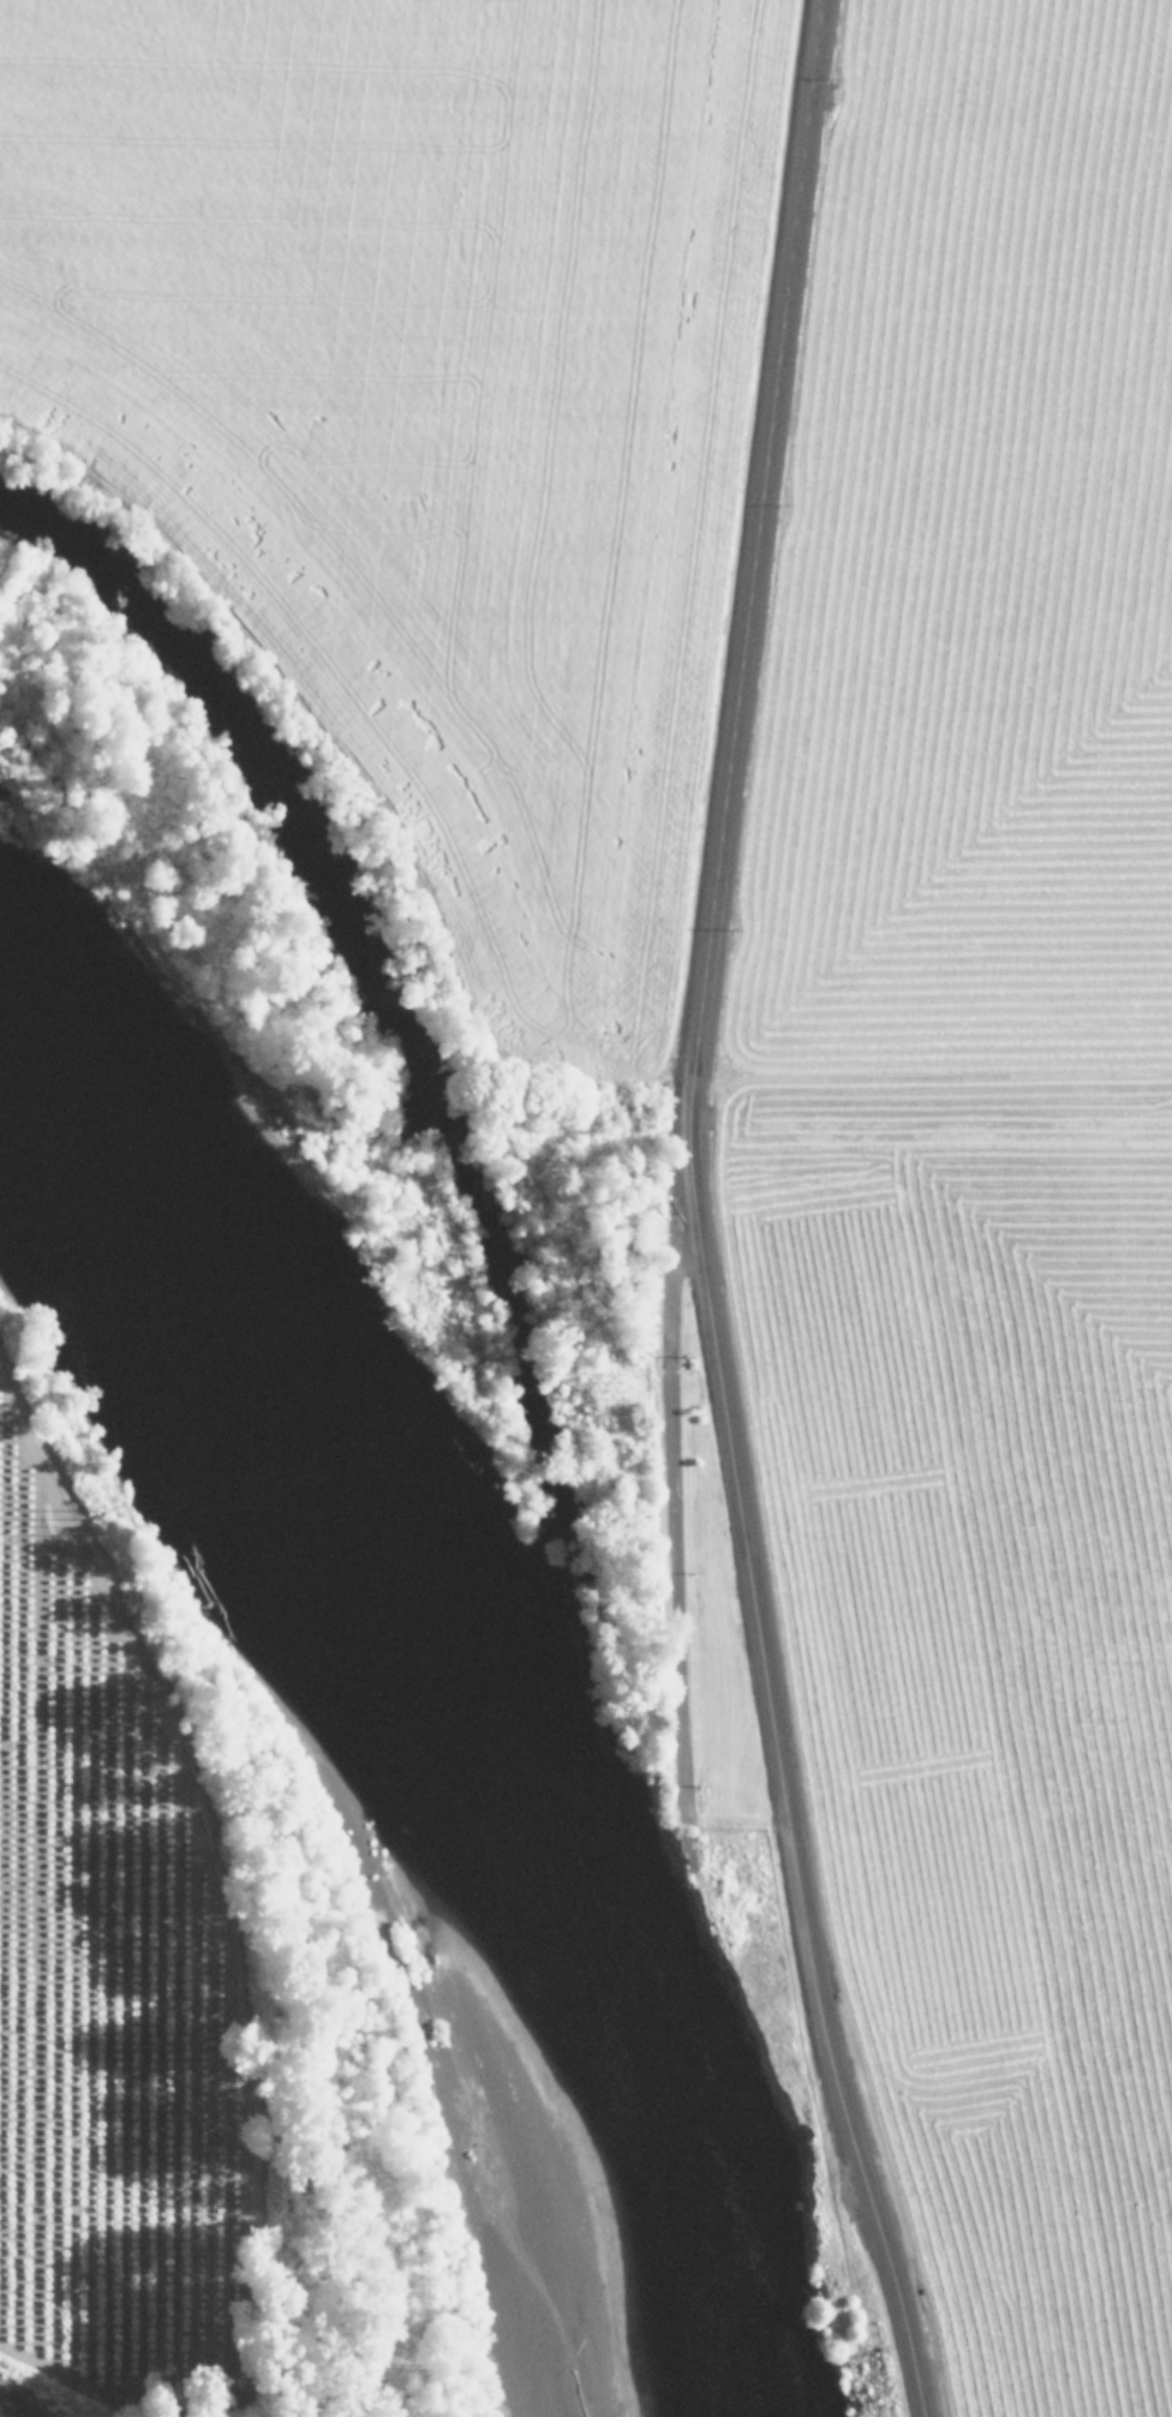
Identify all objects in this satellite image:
crop: (763, 877)
road: (689, 1208)
river: (456, 1670)
crop: (91, 1994)
road: (18, 2405)

